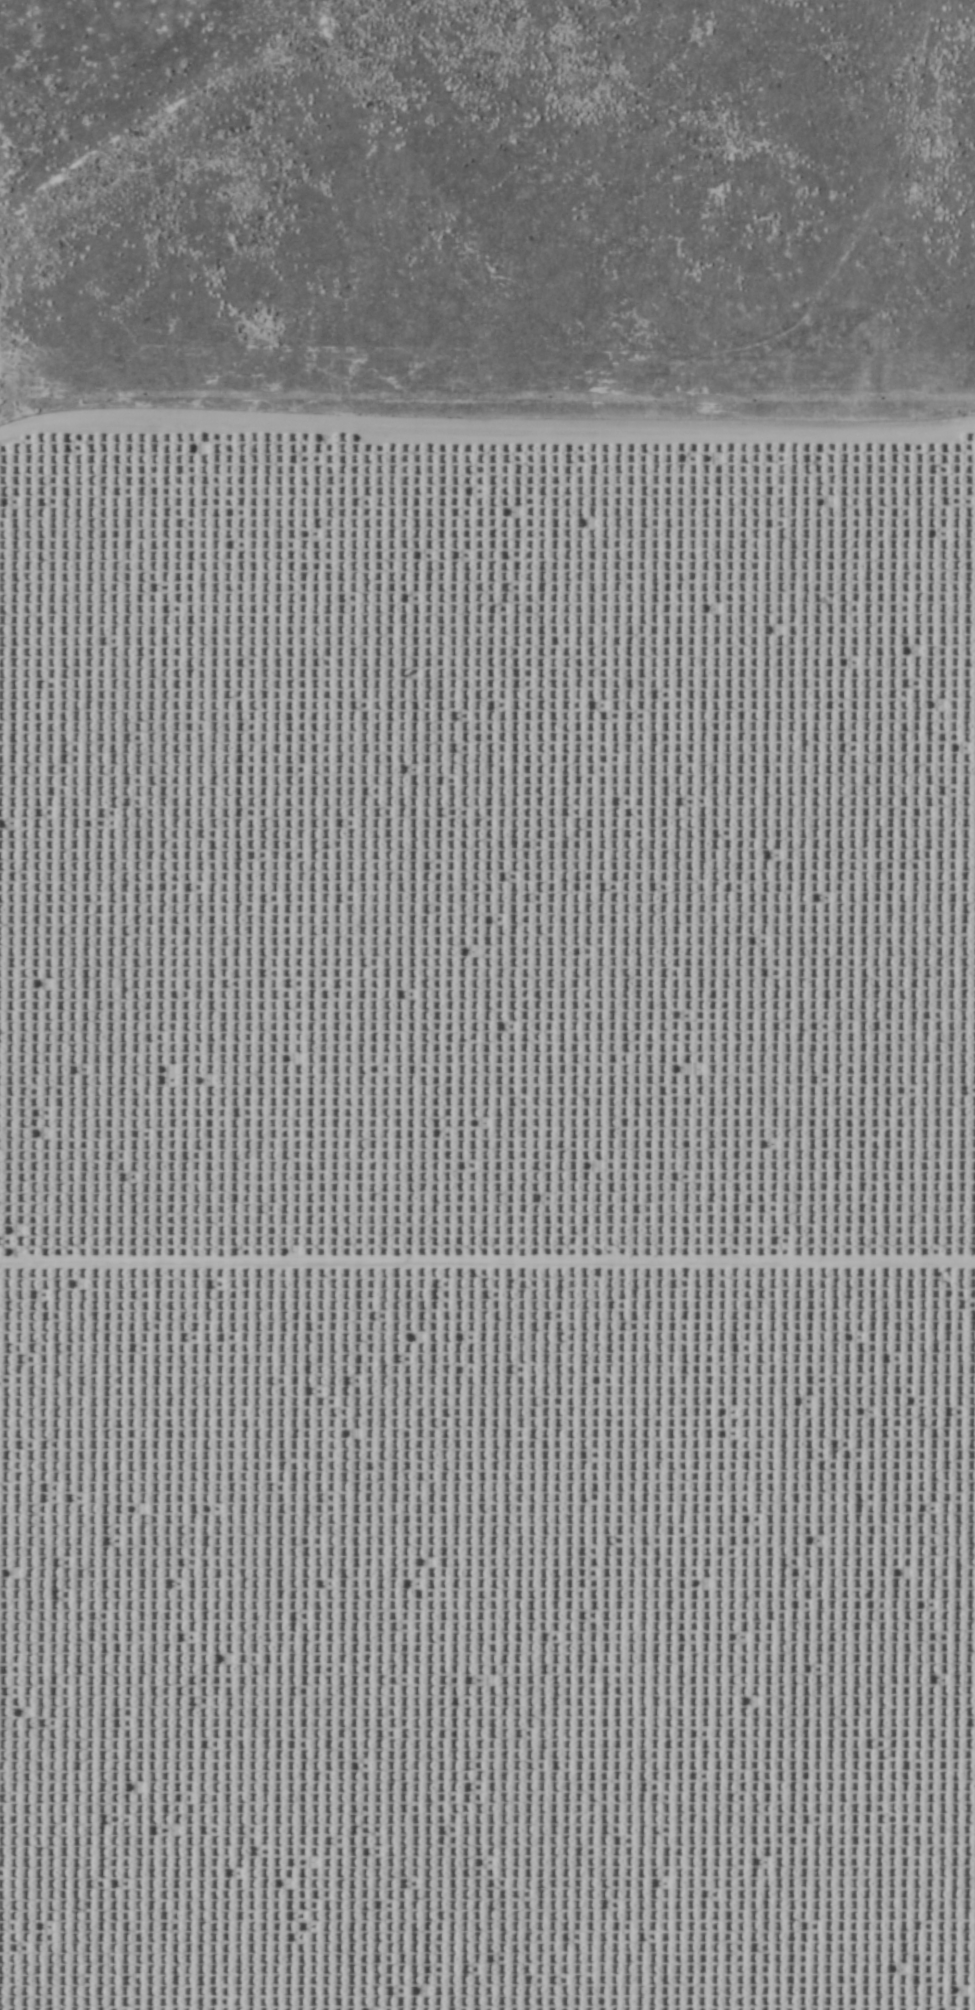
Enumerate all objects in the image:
road: (487, 422)
road: (487, 1228)

